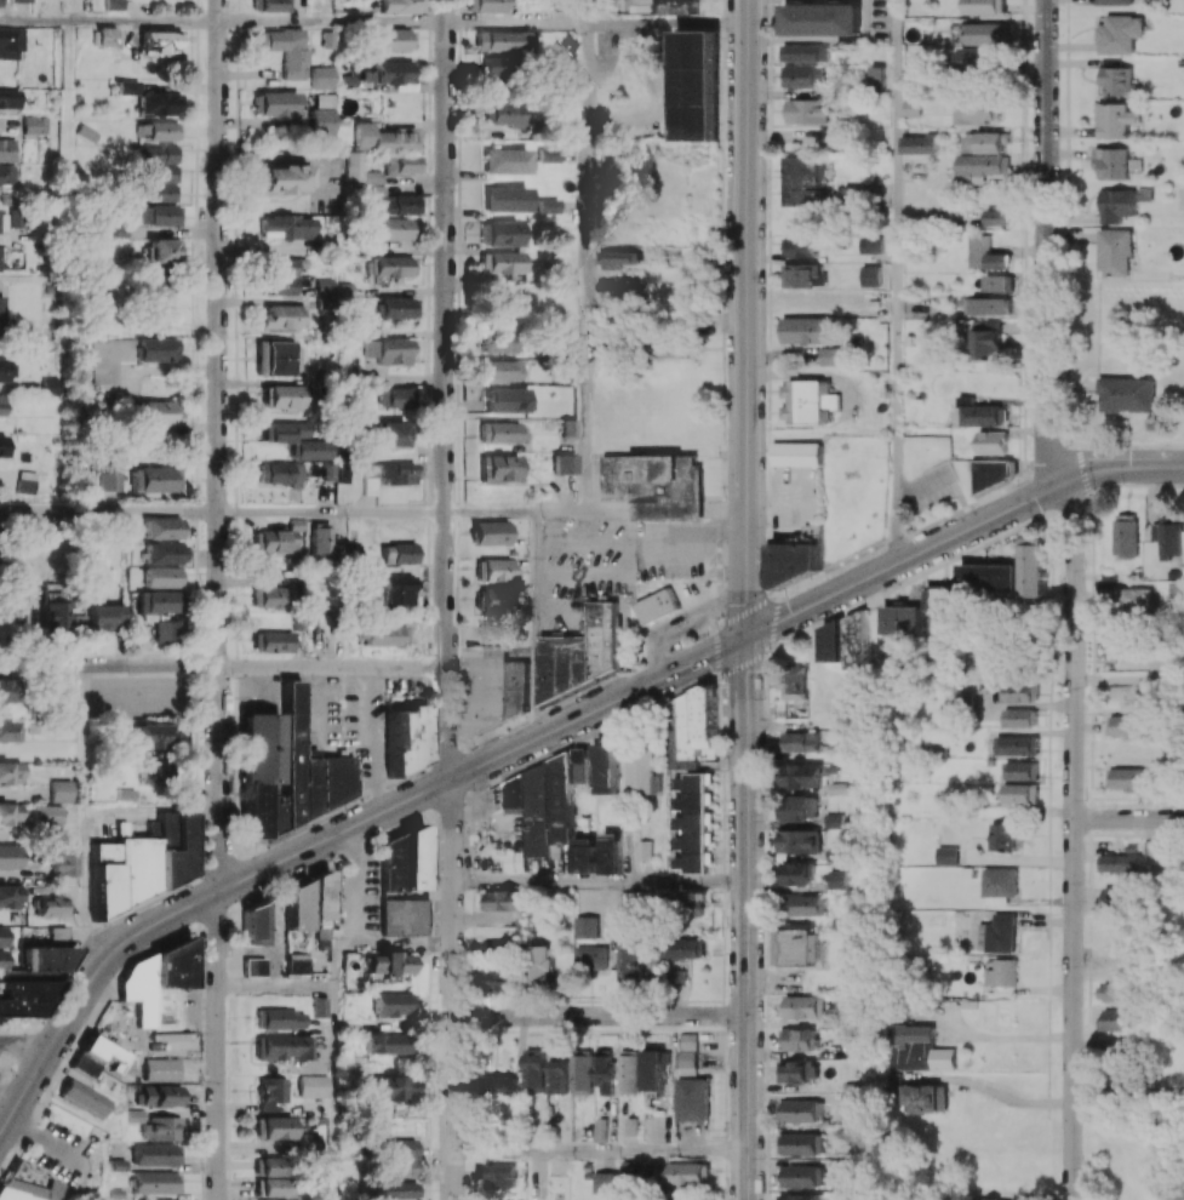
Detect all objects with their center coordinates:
building: (23, 1)
building: (1115, 1)
building: (679, 4)
building: (113, 5)
building: (270, 5)
building: (402, 6)
building: (485, 6)
building: (986, 6)
building: (819, 18)
road: (35, 22)
road: (145, 23)
road: (334, 23)
road: (517, 24)
road: (668, 24)
building: (989, 32)
building: (1120, 34)
building: (394, 39)
building: (502, 40)
building: (161, 41)
building: (11, 42)
building: (286, 50)
building: (803, 52)
building: (983, 59)
building: (498, 65)
building: (395, 72)
building: (801, 75)
building: (875, 75)
building: (321, 76)
building: (1119, 81)
building: (697, 85)
building: (126, 86)
building: (10, 98)
building: (158, 103)
building: (276, 104)
building: (911, 108)
building: (806, 110)
building: (979, 110)
building: (324, 114)
building: (1115, 120)
building: (36, 124)
building: (155, 131)
building: (385, 138)
building: (830, 138)
building: (985, 142)
building: (919, 144)
building: (7, 149)
building: (154, 154)
building: (550, 154)
building: (507, 161)
building: (1112, 162)
building: (984, 164)
building: (404, 165)
building: (359, 170)
building: (7, 173)
building: (282, 179)
building: (802, 181)
building: (162, 182)
building: (507, 199)
building: (397, 204)
building: (549, 205)
building: (1117, 205)
building: (156, 215)
building: (17, 217)
building: (997, 217)
building: (286, 227)
building: (391, 228)
building: (499, 233)
road: (1046, 242)
building: (870, 245)
building: (800, 246)
building: (165, 250)
building: (1115, 252)
building: (984, 255)
building: (0, 257)
building: (619, 259)
building: (502, 262)
building: (390, 265)
road: (70, 267)
building: (281, 267)
road: (588, 267)
building: (802, 275)
building: (870, 275)
road: (893, 282)
building: (995, 282)
building: (278, 286)
building: (322, 287)
building: (160, 296)
building: (985, 305)
building: (1, 307)
building: (396, 308)
building: (281, 316)
road: (747, 319)
building: (805, 331)
road: (767, 338)
building: (985, 339)
building: (501, 342)
building: (385, 350)
road: (722, 352)
building: (126, 355)
building: (831, 355)
building: (276, 358)
building: (8, 368)
building: (498, 370)
building: (53, 385)
road: (446, 390)
building: (1128, 393)
building: (280, 396)
building: (393, 398)
building: (508, 400)
building: (808, 400)
building: (1, 405)
building: (161, 412)
building: (984, 415)
building: (568, 428)
building: (281, 432)
building: (501, 433)
building: (383, 434)
building: (993, 442)
building: (2, 445)
road: (219, 445)
building: (308, 450)
building: (796, 453)
building: (562, 464)
building: (497, 468)
road: (1079, 469)
building: (332, 472)
building: (996, 472)
building: (278, 473)
building: (383, 475)
building: (156, 479)
building: (29, 481)
building: (111, 481)
traffic signals: (1059, 482)
building: (656, 485)
parking lot: (793, 499)
road: (516, 510)
road: (223, 512)
building: (162, 528)
building: (491, 532)
road: (960, 533)
building: (1127, 536)
building: (1169, 536)
building: (319, 538)
building: (276, 539)
building: (165, 553)
building: (394, 553)
building: (796, 555)
parking lot: (604, 559)
building: (1033, 567)
building: (493, 570)
building: (162, 577)
building: (989, 578)
building: (393, 590)
building: (274, 596)
building: (940, 598)
building: (490, 600)
building: (159, 601)
road: (773, 601)
building: (1138, 601)
building: (656, 605)
road: (852, 605)
road: (748, 611)
building: (18, 613)
building: (55, 617)
building: (108, 617)
building: (82, 618)
building: (902, 621)
road: (536, 623)
road: (687, 625)
road: (719, 625)
road: (771, 625)
building: (167, 632)
building: (385, 635)
traffic signals: (747, 638)
building: (273, 641)
building: (854, 641)
building: (833, 642)
road: (720, 650)
building: (580, 652)
road: (743, 659)
road: (223, 665)
road: (723, 669)
building: (793, 681)
building: (493, 687)
building: (7, 691)
building: (1018, 691)
road: (580, 693)
building: (1019, 716)
building: (1129, 725)
building: (10, 731)
road: (84, 736)
building: (153, 736)
road: (588, 737)
building: (406, 738)
road: (374, 739)
building: (801, 741)
road: (722, 743)
building: (1017, 744)
building: (608, 764)
building: (287, 770)
building: (1020, 770)
building: (149, 772)
building: (644, 772)
building: (10, 773)
building: (802, 775)
building: (1131, 777)
building: (692, 779)
building: (62, 790)
building: (1022, 793)
building: (543, 801)
road: (151, 807)
building: (11, 813)
building: (48, 815)
road: (1128, 818)
building: (165, 830)
road: (331, 836)
building: (1002, 836)
road: (1073, 839)
building: (797, 841)
road: (355, 844)
building: (645, 850)
building: (611, 852)
building: (584, 855)
building: (946, 855)
building: (10, 857)
building: (63, 859)
building: (401, 862)
building: (515, 862)
building: (1119, 862)
building: (138, 865)
building: (796, 873)
building: (1173, 873)
building: (837, 879)
building: (999, 881)
road: (600, 882)
road: (85, 887)
building: (1117, 893)
building: (11, 896)
building: (503, 899)
building: (305, 901)
road: (359, 903)
building: (691, 903)
building: (805, 904)
building: (51, 905)
building: (402, 916)
road: (747, 918)
building: (253, 924)
building: (587, 927)
building: (997, 933)
building: (2, 936)
road: (406, 944)
building: (502, 945)
building: (690, 947)
building: (797, 947)
building: (591, 958)
building: (45, 959)
building: (297, 962)
building: (633, 962)
building: (387, 964)
building: (539, 965)
building: (254, 966)
building: (1001, 972)
building: (680, 976)
building: (154, 977)
building: (501, 979)
road: (278, 988)
road: (453, 989)
building: (1112, 992)
building: (391, 1004)
building: (320, 1006)
building: (806, 1006)
road: (600, 1016)
building: (279, 1018)
building: (1115, 1019)
building: (833, 1021)
building: (908, 1034)
road: (1000, 1036)
building: (797, 1039)
building: (170, 1040)
building: (385, 1042)
road: (23, 1044)
road: (219, 1045)
building: (282, 1046)
building: (104, 1052)
building: (688, 1053)
building: (942, 1058)
road: (334, 1059)
building: (85, 1064)
building: (161, 1069)
building: (536, 1069)
building: (606, 1069)
building: (654, 1069)
building: (797, 1070)
building: (582, 1072)
building: (630, 1072)
building: (559, 1075)
building: (888, 1081)
building: (313, 1085)
building: (503, 1086)
building: (389, 1087)
building: (271, 1092)
road: (1127, 1093)
building: (161, 1095)
road: (1000, 1095)
building: (84, 1097)
building: (692, 1098)
building: (922, 1098)
building: (851, 1101)
road: (7, 1104)
building: (802, 1110)
building: (156, 1125)
building: (274, 1127)
building: (607, 1130)
building: (801, 1143)
road: (600, 1152)
building: (156, 1154)
building: (399, 1156)
building: (270, 1166)
building: (481, 1168)
building: (635, 1171)
building: (690, 1173)
building: (803, 1175)
building: (502, 1176)
building: (156, 1182)
building: (605, 1182)
building: (275, 1187)
building: (397, 1190)
building: (800, 1196)
building: (162, 1199)
building: (996, 1199)

